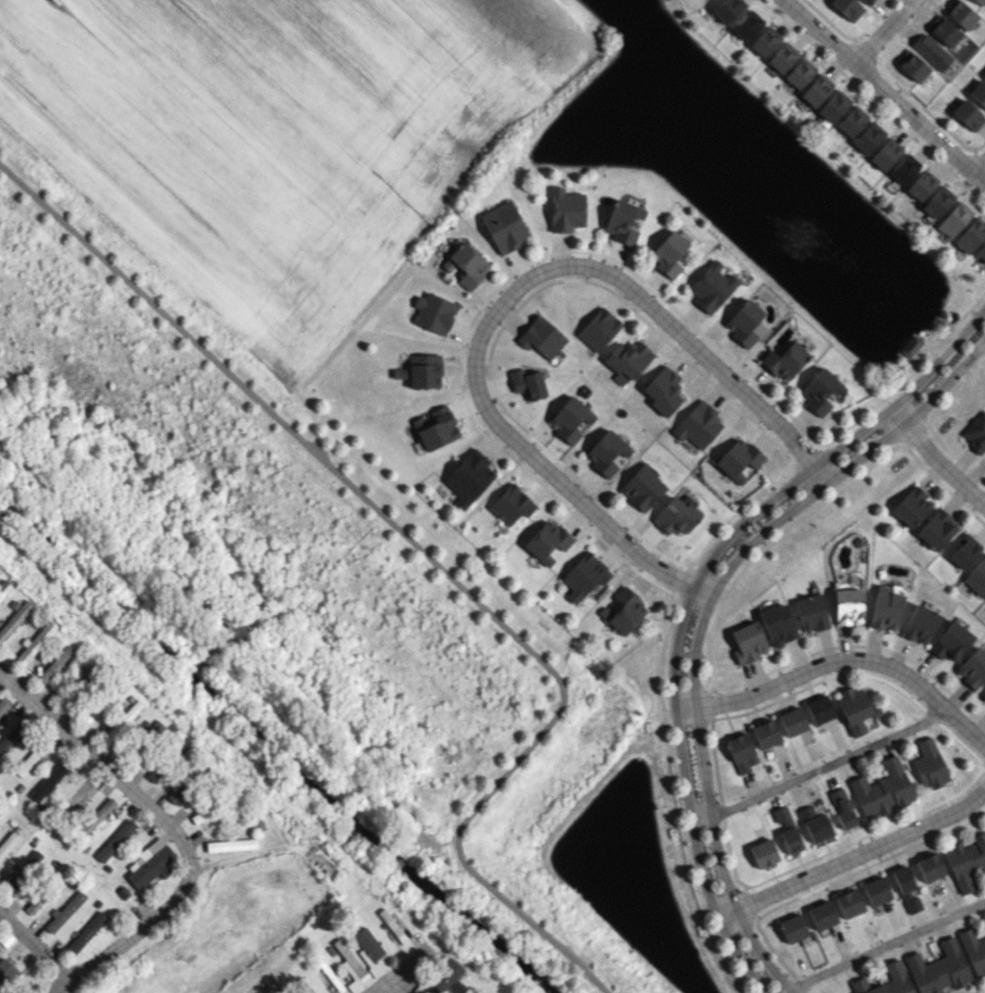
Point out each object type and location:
building: (866, 1)
building: (980, 1)
building: (847, 8)
building: (727, 9)
building: (960, 14)
building: (747, 25)
road: (881, 30)
building: (944, 32)
building: (765, 41)
building: (931, 51)
building: (782, 57)
building: (912, 66)
building: (799, 73)
building: (984, 75)
building: (816, 90)
road: (885, 91)
building: (978, 93)
building: (833, 106)
building: (968, 115)
building: (852, 121)
building: (868, 137)
building: (885, 154)
road: (980, 168)
building: (904, 169)
building: (921, 185)
building: (938, 202)
building: (566, 210)
building: (954, 219)
building: (623, 221)
building: (503, 227)
building: (970, 236)
building: (668, 253)
building: (981, 253)
building: (466, 265)
building: (711, 287)
road: (506, 298)
building: (433, 312)
building: (744, 323)
building: (598, 329)
building: (541, 337)
building: (910, 346)
building: (627, 360)
building: (785, 361)
building: (424, 371)
building: (527, 384)
building: (663, 391)
building: (820, 391)
building: (570, 419)
building: (698, 425)
building: (435, 427)
building: (977, 433)
building: (606, 452)
road: (936, 458)
building: (738, 459)
building: (469, 478)
building: (643, 487)
building: (511, 504)
building: (911, 507)
building: (676, 516)
building: (936, 530)
building: (547, 541)
building: (965, 551)
road: (433, 564)
building: (584, 576)
building: (977, 578)
building: (4, 588)
road: (688, 597)
building: (848, 606)
building: (886, 608)
building: (624, 611)
road: (701, 613)
building: (811, 613)
building: (14, 619)
building: (778, 624)
building: (920, 624)
building: (36, 641)
building: (748, 642)
building: (951, 642)
road: (841, 660)
building: (55, 664)
building: (973, 668)
building: (86, 676)
building: (983, 695)
building: (2, 705)
building: (97, 705)
building: (819, 709)
building: (855, 709)
building: (122, 721)
building: (792, 721)
building: (155, 729)
building: (766, 734)
building: (12, 735)
building: (136, 750)
building: (741, 752)
building: (29, 759)
road: (98, 760)
building: (929, 764)
road: (817, 768)
building: (155, 774)
building: (49, 780)
building: (882, 789)
building: (177, 793)
building: (74, 797)
building: (842, 808)
building: (202, 814)
building: (97, 815)
building: (815, 823)
building: (786, 829)
building: (115, 840)
building: (8, 843)
building: (231, 845)
building: (763, 853)
road: (854, 856)
building: (965, 861)
building: (152, 867)
building: (929, 867)
building: (21, 871)
building: (906, 889)
building: (875, 891)
building: (849, 903)
building: (33, 906)
building: (65, 911)
building: (822, 915)
building: (392, 926)
building: (793, 928)
road: (133, 932)
building: (86, 933)
road: (36, 945)
road: (887, 945)
building: (368, 949)
building: (974, 950)
building: (421, 954)
building: (349, 966)
building: (938, 969)
building: (6, 972)
building: (442, 975)
road: (392, 978)
building: (886, 981)
building: (304, 988)
road: (386, 989)

